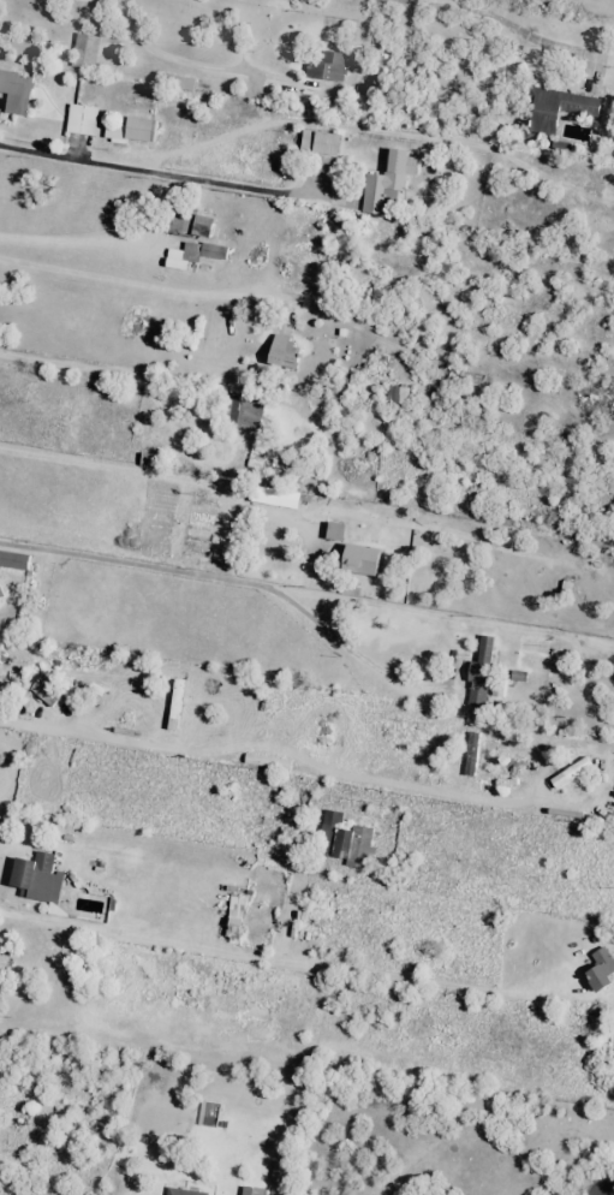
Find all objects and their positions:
road: (503, 25)
building: (85, 52)
building: (327, 66)
building: (16, 93)
building: (558, 108)
building: (82, 119)
road: (356, 126)
building: (132, 130)
building: (320, 142)
road: (156, 176)
building: (388, 183)
building: (203, 226)
road: (83, 243)
road: (157, 290)
building: (285, 352)
road: (87, 370)
building: (397, 394)
building: (244, 415)
road: (217, 459)
road: (169, 480)
building: (280, 498)
building: (335, 531)
building: (14, 560)
building: (362, 560)
road: (238, 583)
building: (481, 672)
building: (47, 690)
road: (119, 741)
building: (330, 822)
building: (354, 846)
building: (38, 878)
building: (236, 917)
road: (117, 935)
building: (601, 969)
building: (183, 1191)

